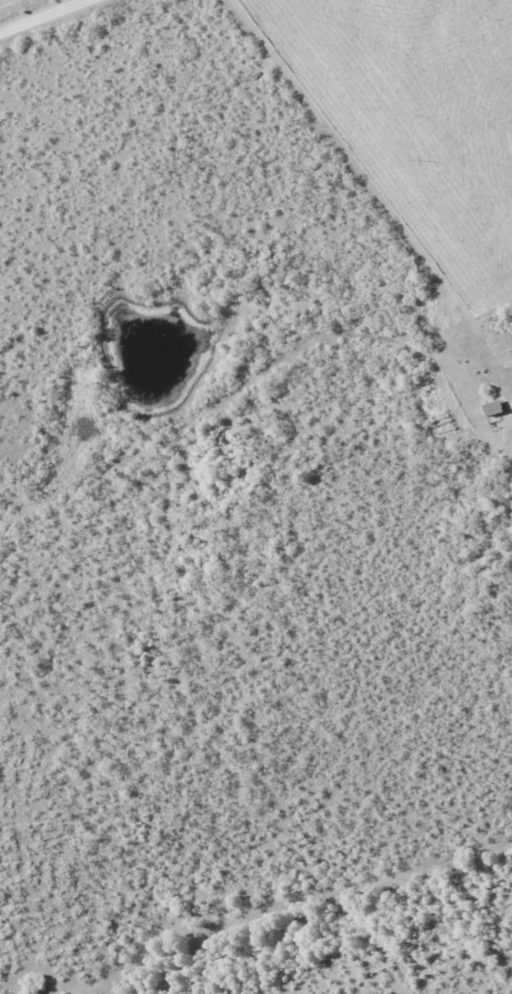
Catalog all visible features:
road: (40, 15)
road: (386, 142)

